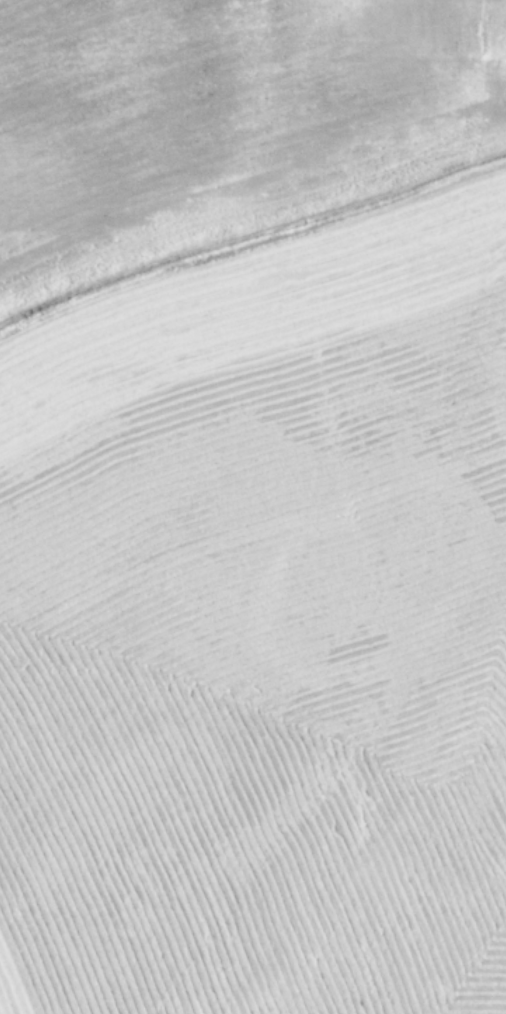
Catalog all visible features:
crop: (253, 507)

